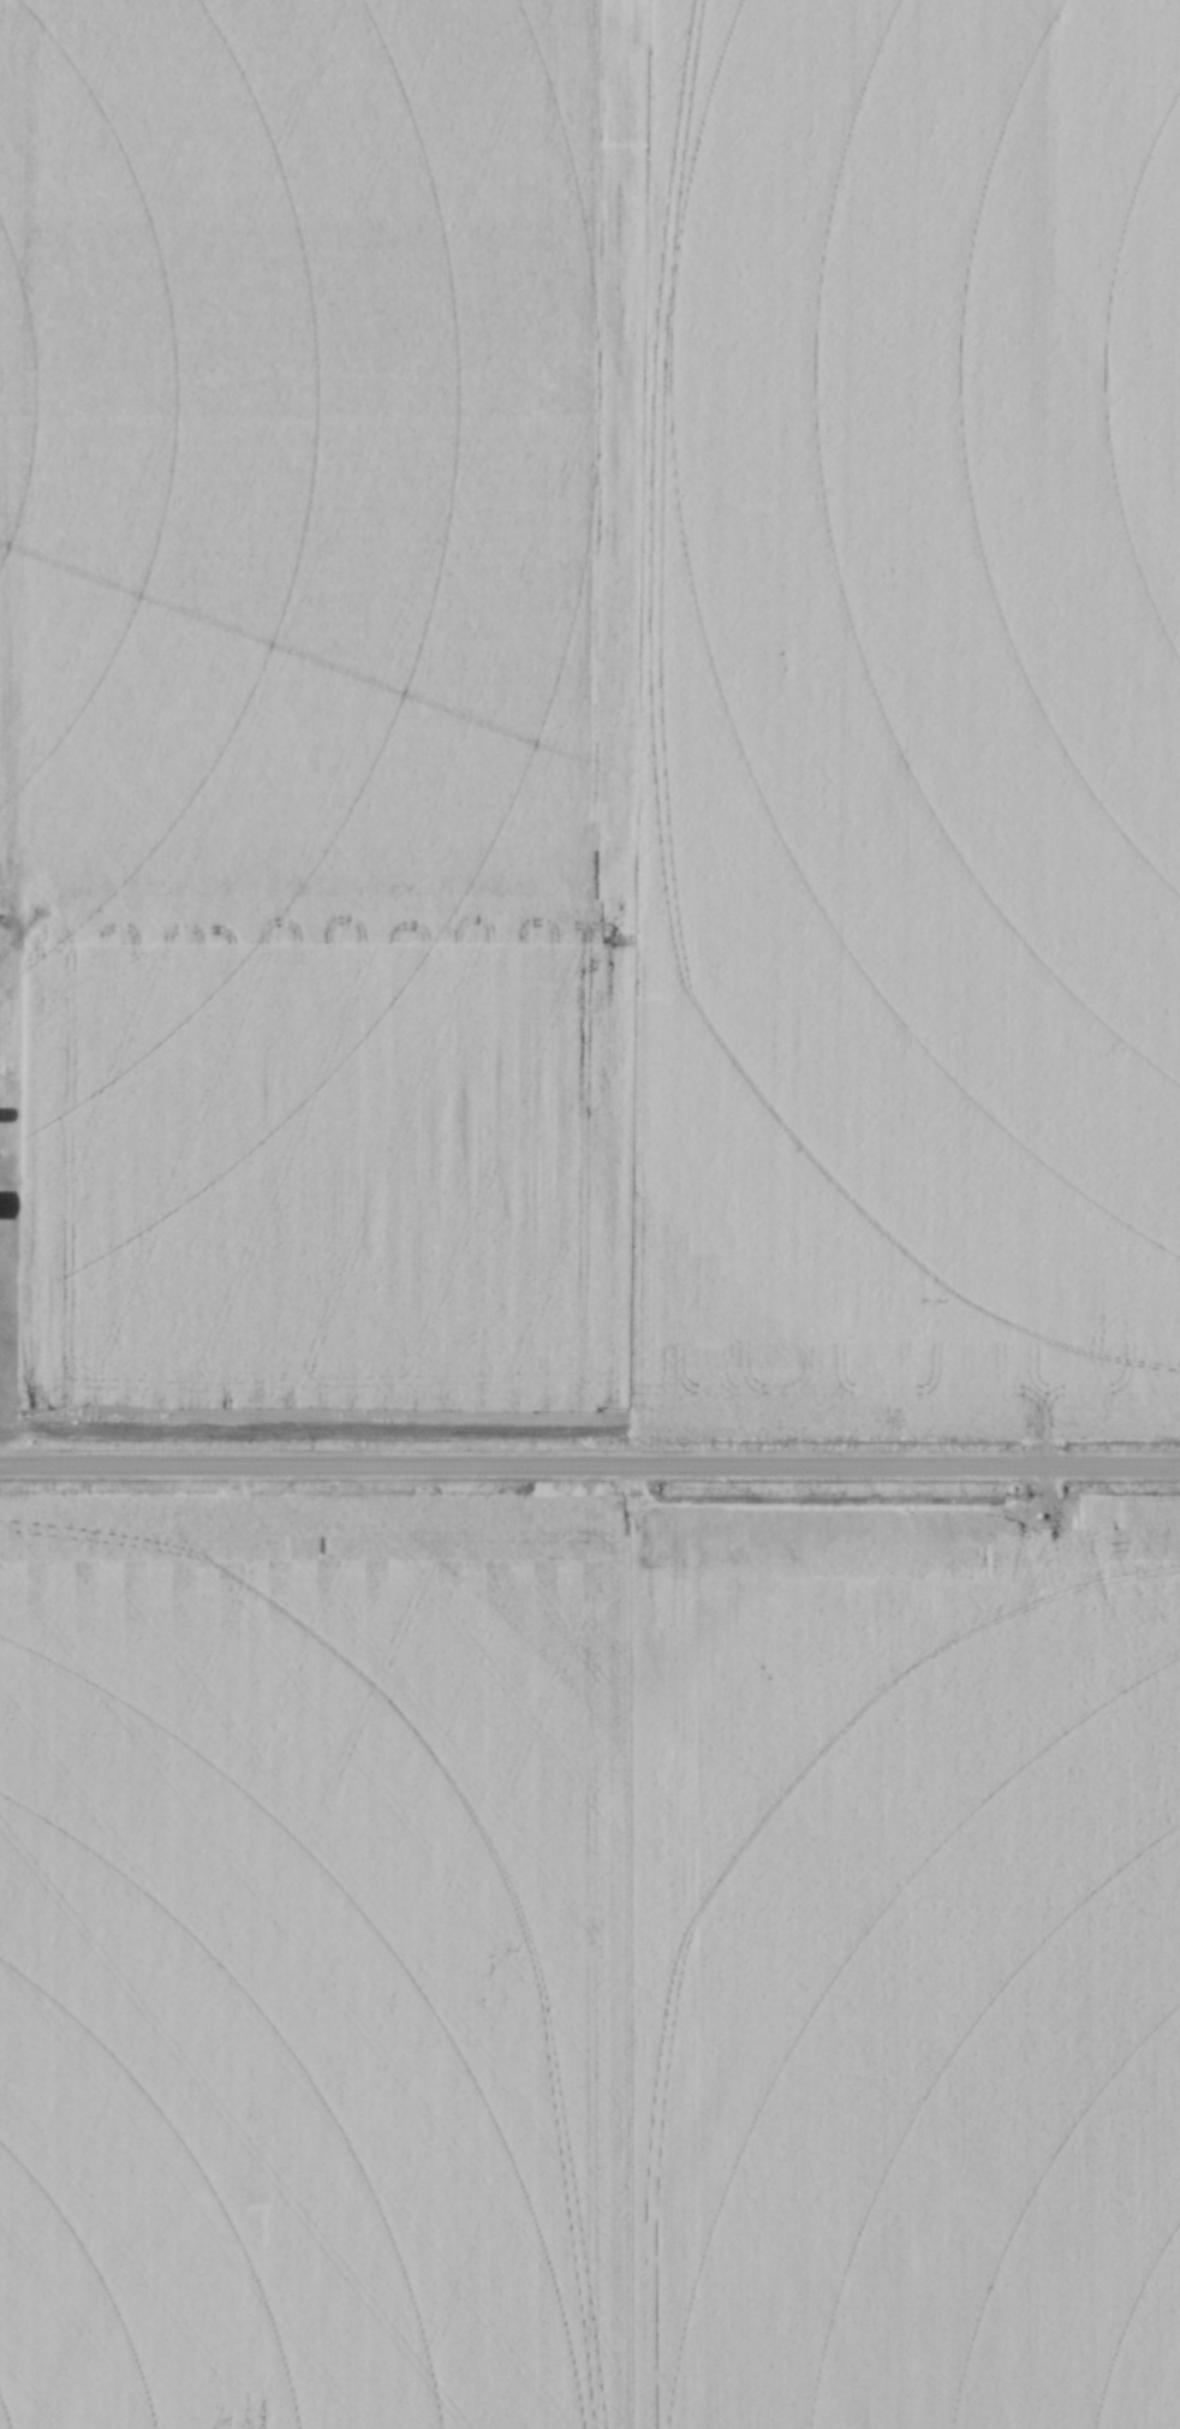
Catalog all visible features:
road: (590, 1467)

